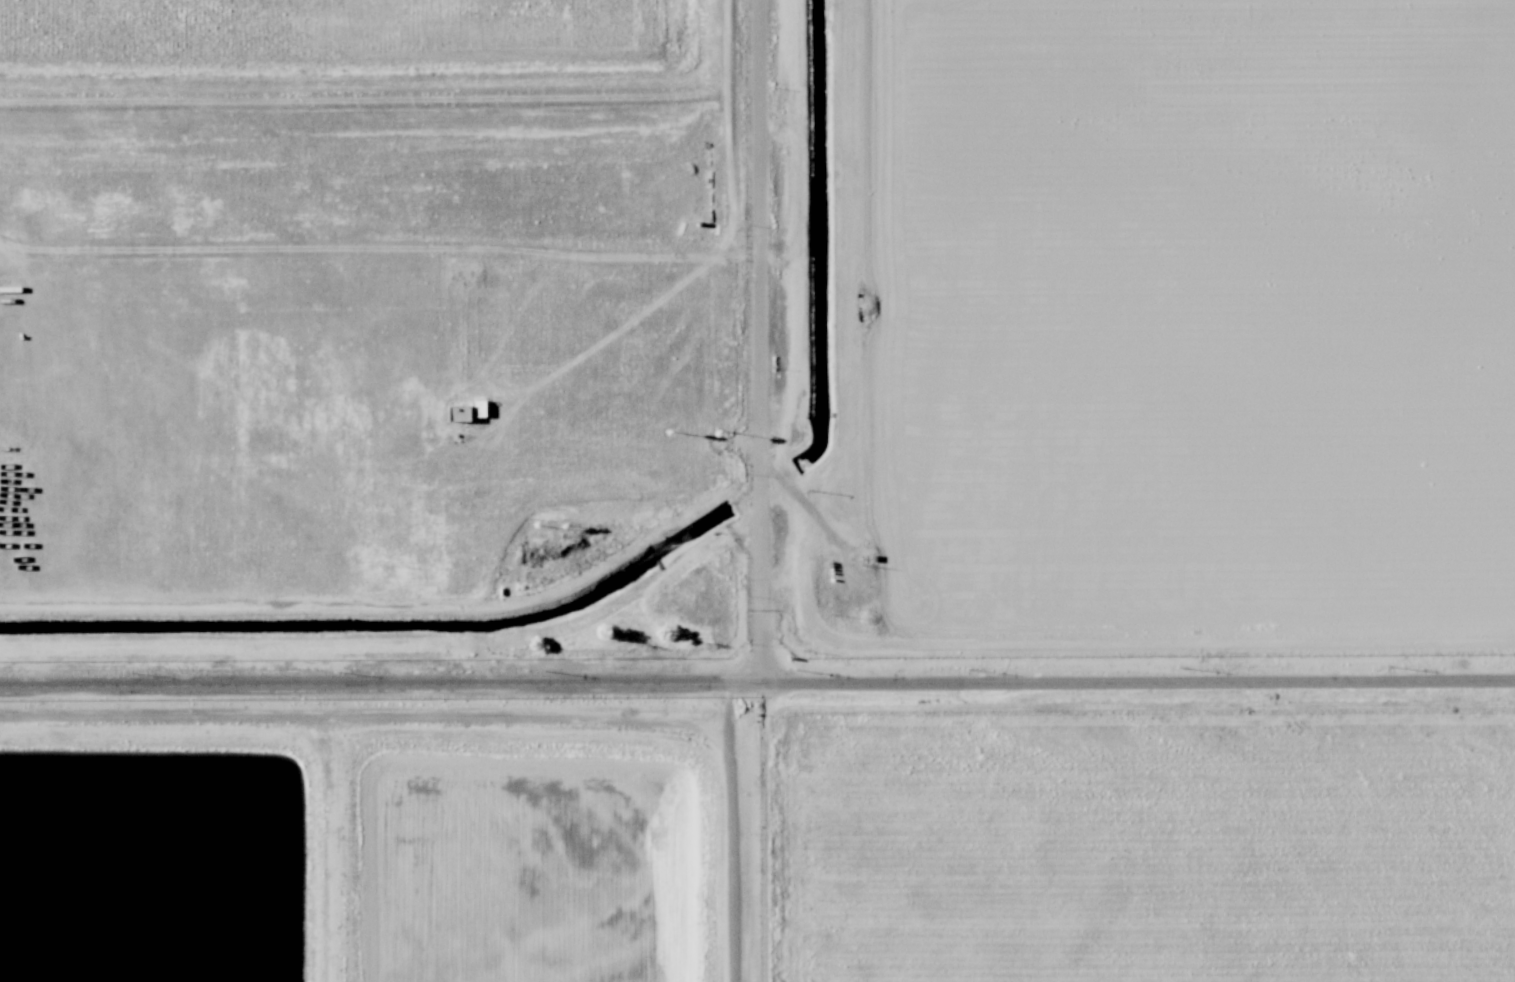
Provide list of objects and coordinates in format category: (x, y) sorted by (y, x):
wastewater plant: (340, 33)
wastewater plant: (375, 260)
crop: (1188, 327)
road: (758, 342)
building: (476, 407)
building: (456, 412)
wastewater plant: (398, 491)
road: (757, 684)
road: (506, 707)
crop: (1146, 841)
road: (333, 845)
wastewater plant: (155, 858)
wastewater plant: (536, 864)

